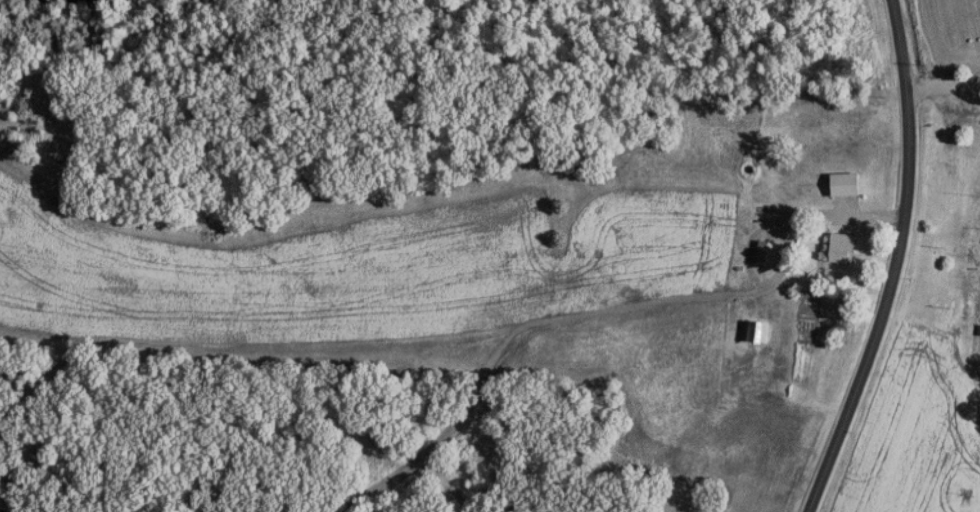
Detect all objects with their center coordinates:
road: (941, 84)
road: (970, 91)
building: (848, 182)
building: (846, 245)
road: (896, 262)
building: (759, 330)

